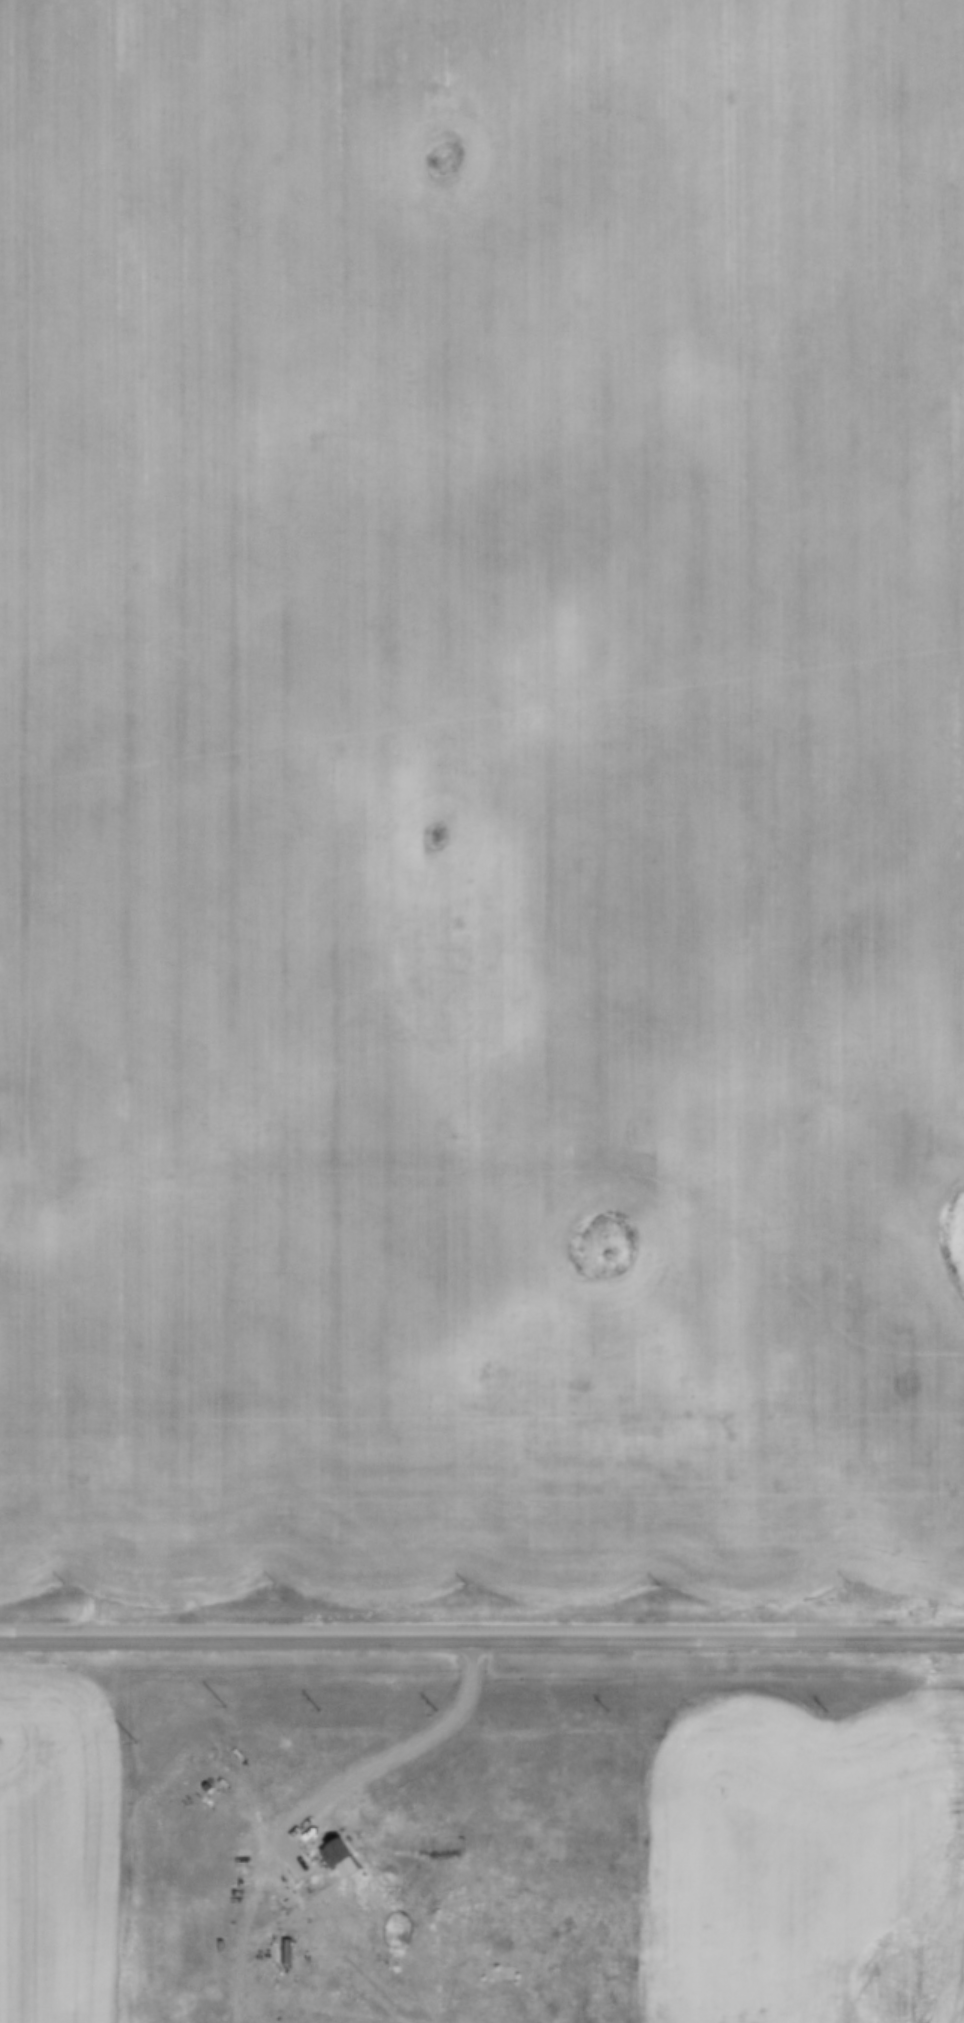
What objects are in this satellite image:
road: (482, 1636)

